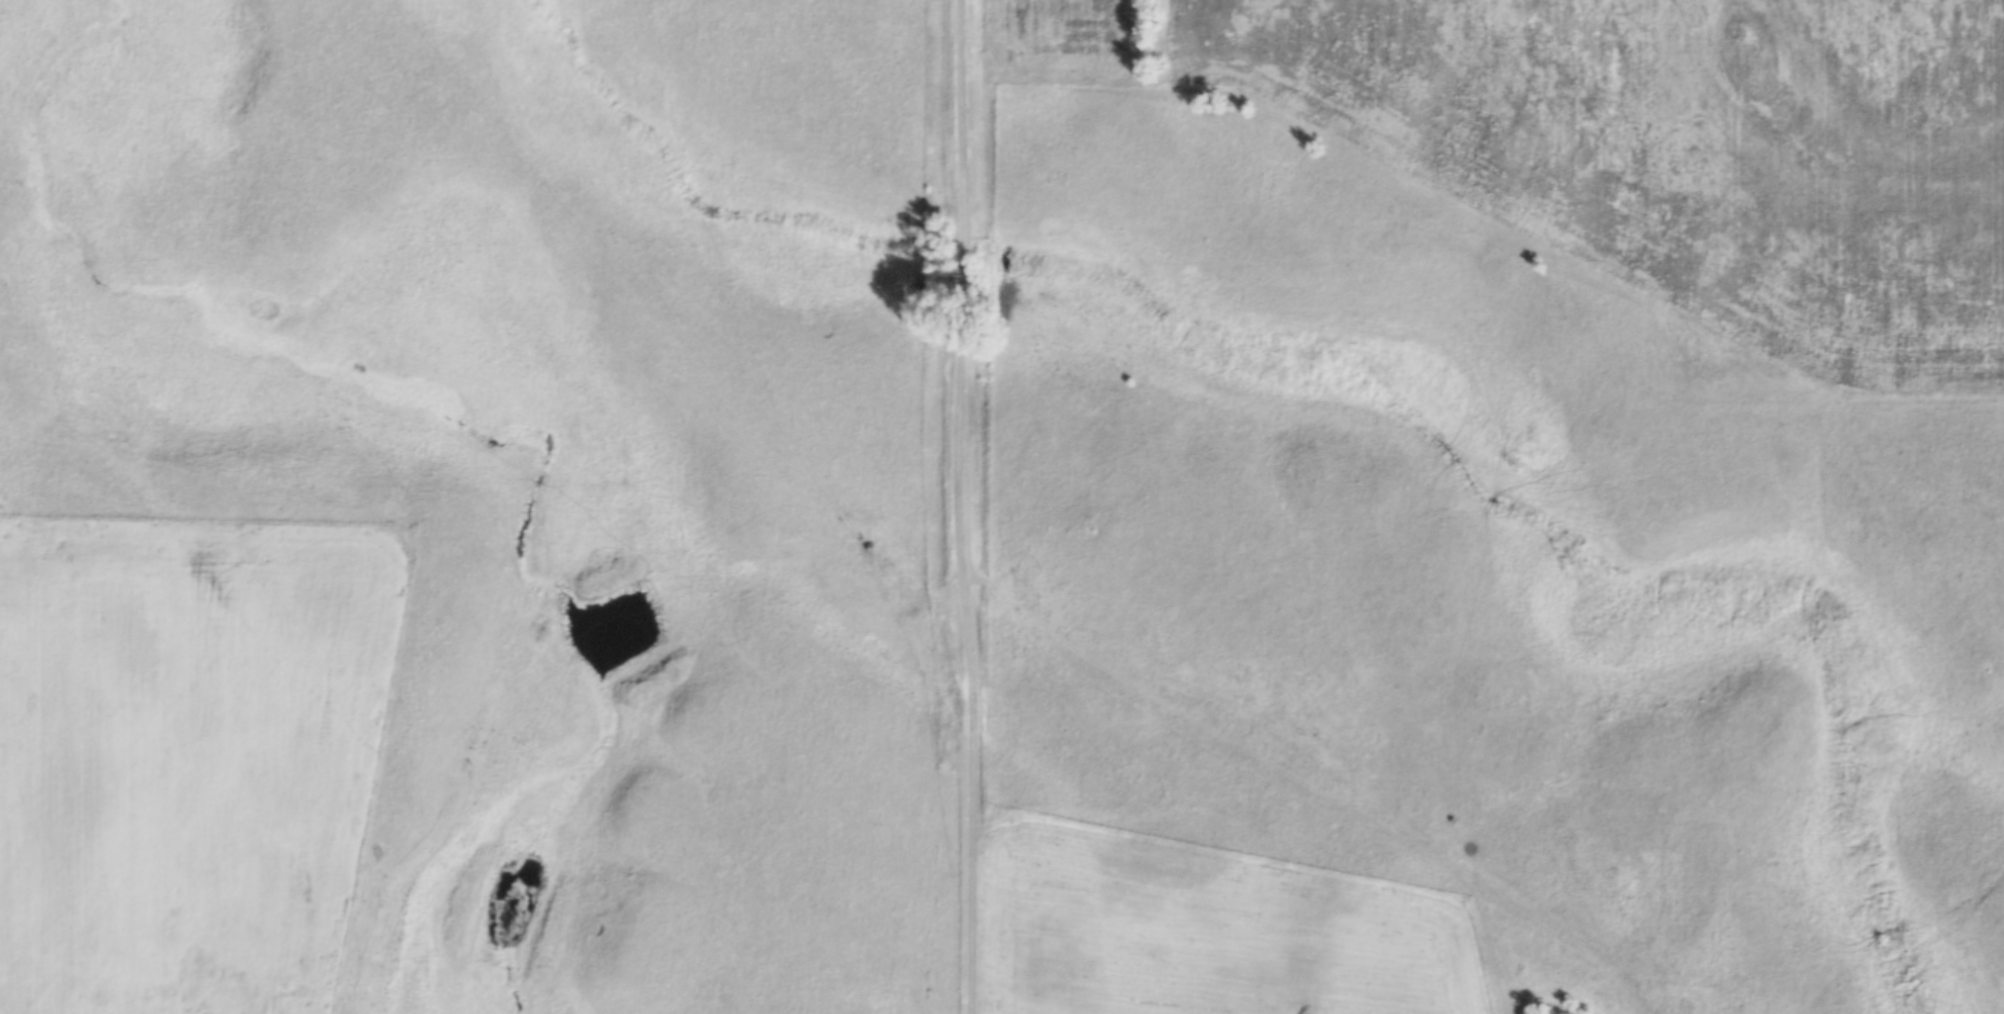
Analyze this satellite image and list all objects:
road: (968, 507)

